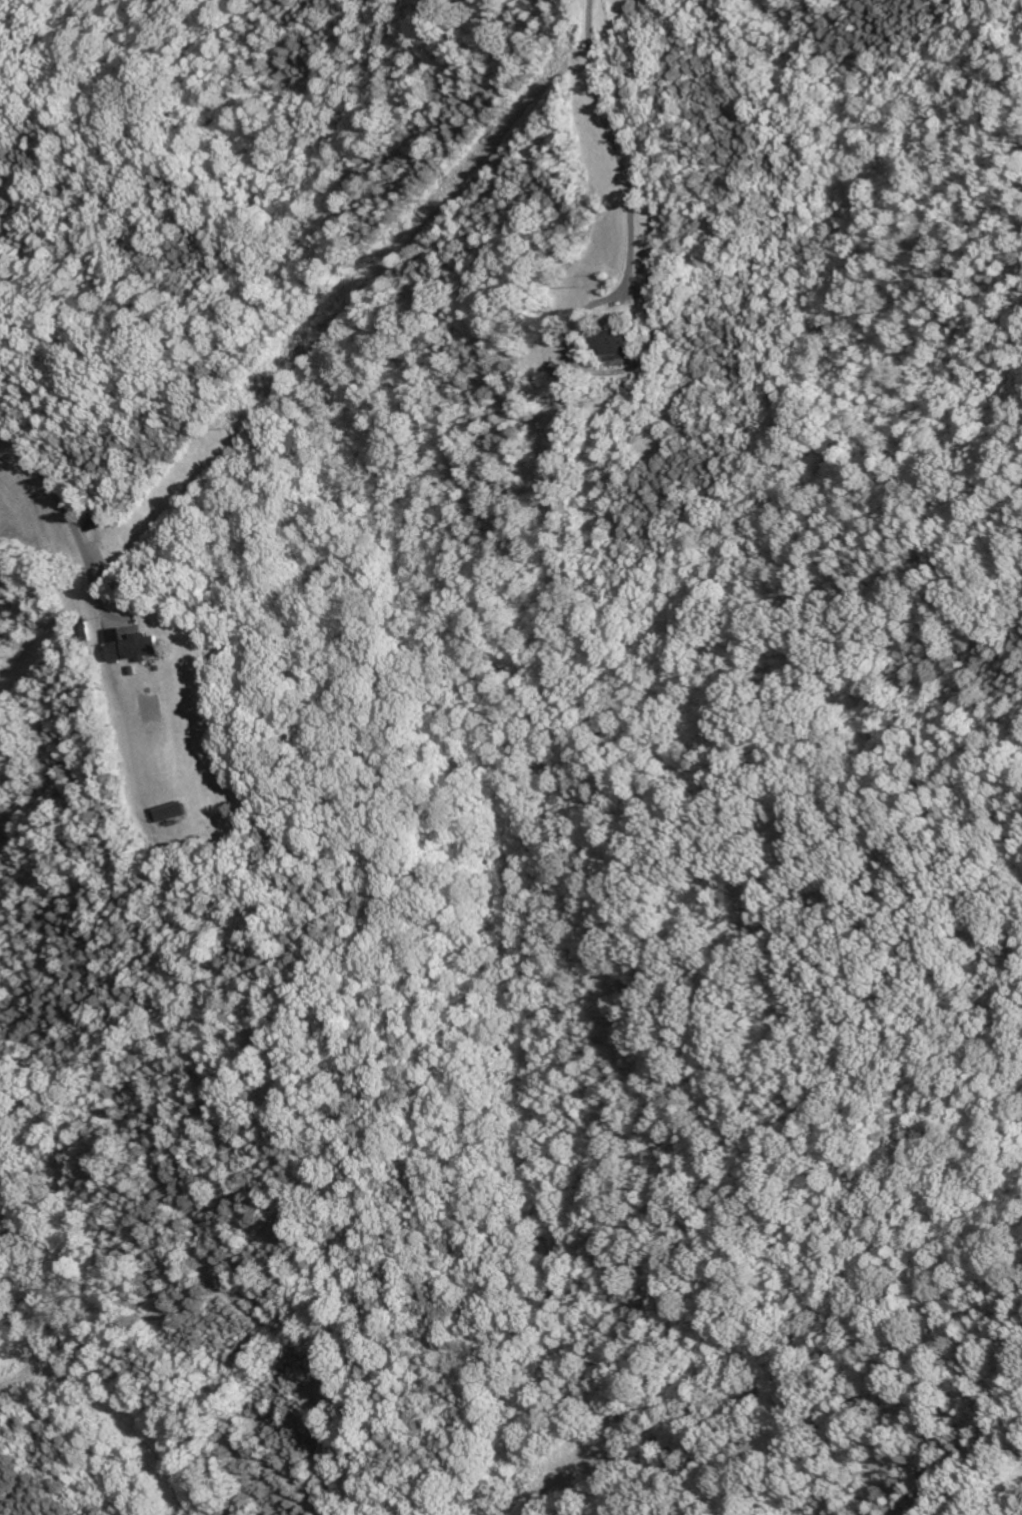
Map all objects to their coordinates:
road: (610, 141)
building: (609, 344)
road: (592, 371)
road: (53, 489)
road: (126, 617)
building: (141, 647)

